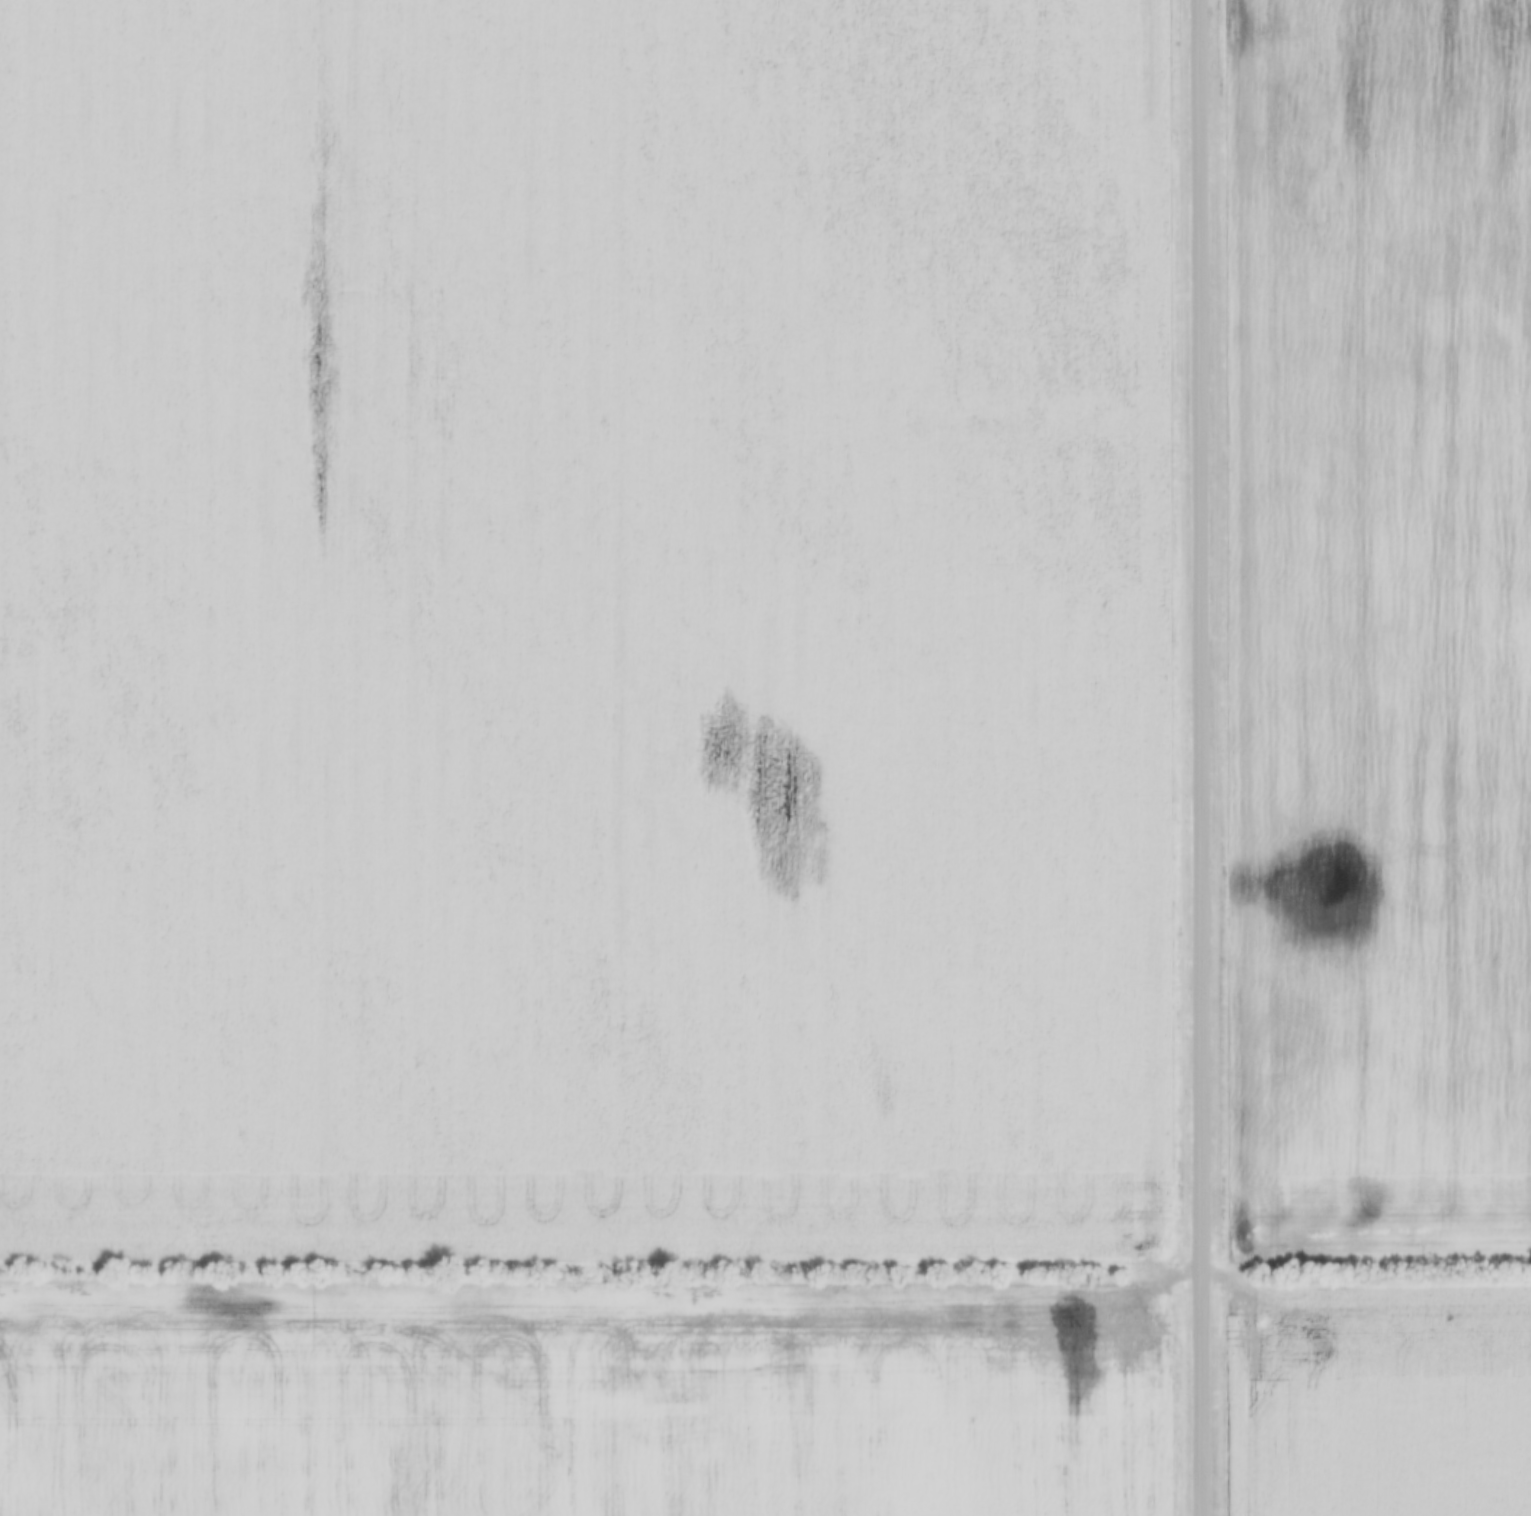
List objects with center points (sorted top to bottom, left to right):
road: (1204, 758)
road: (1291, 1269)

